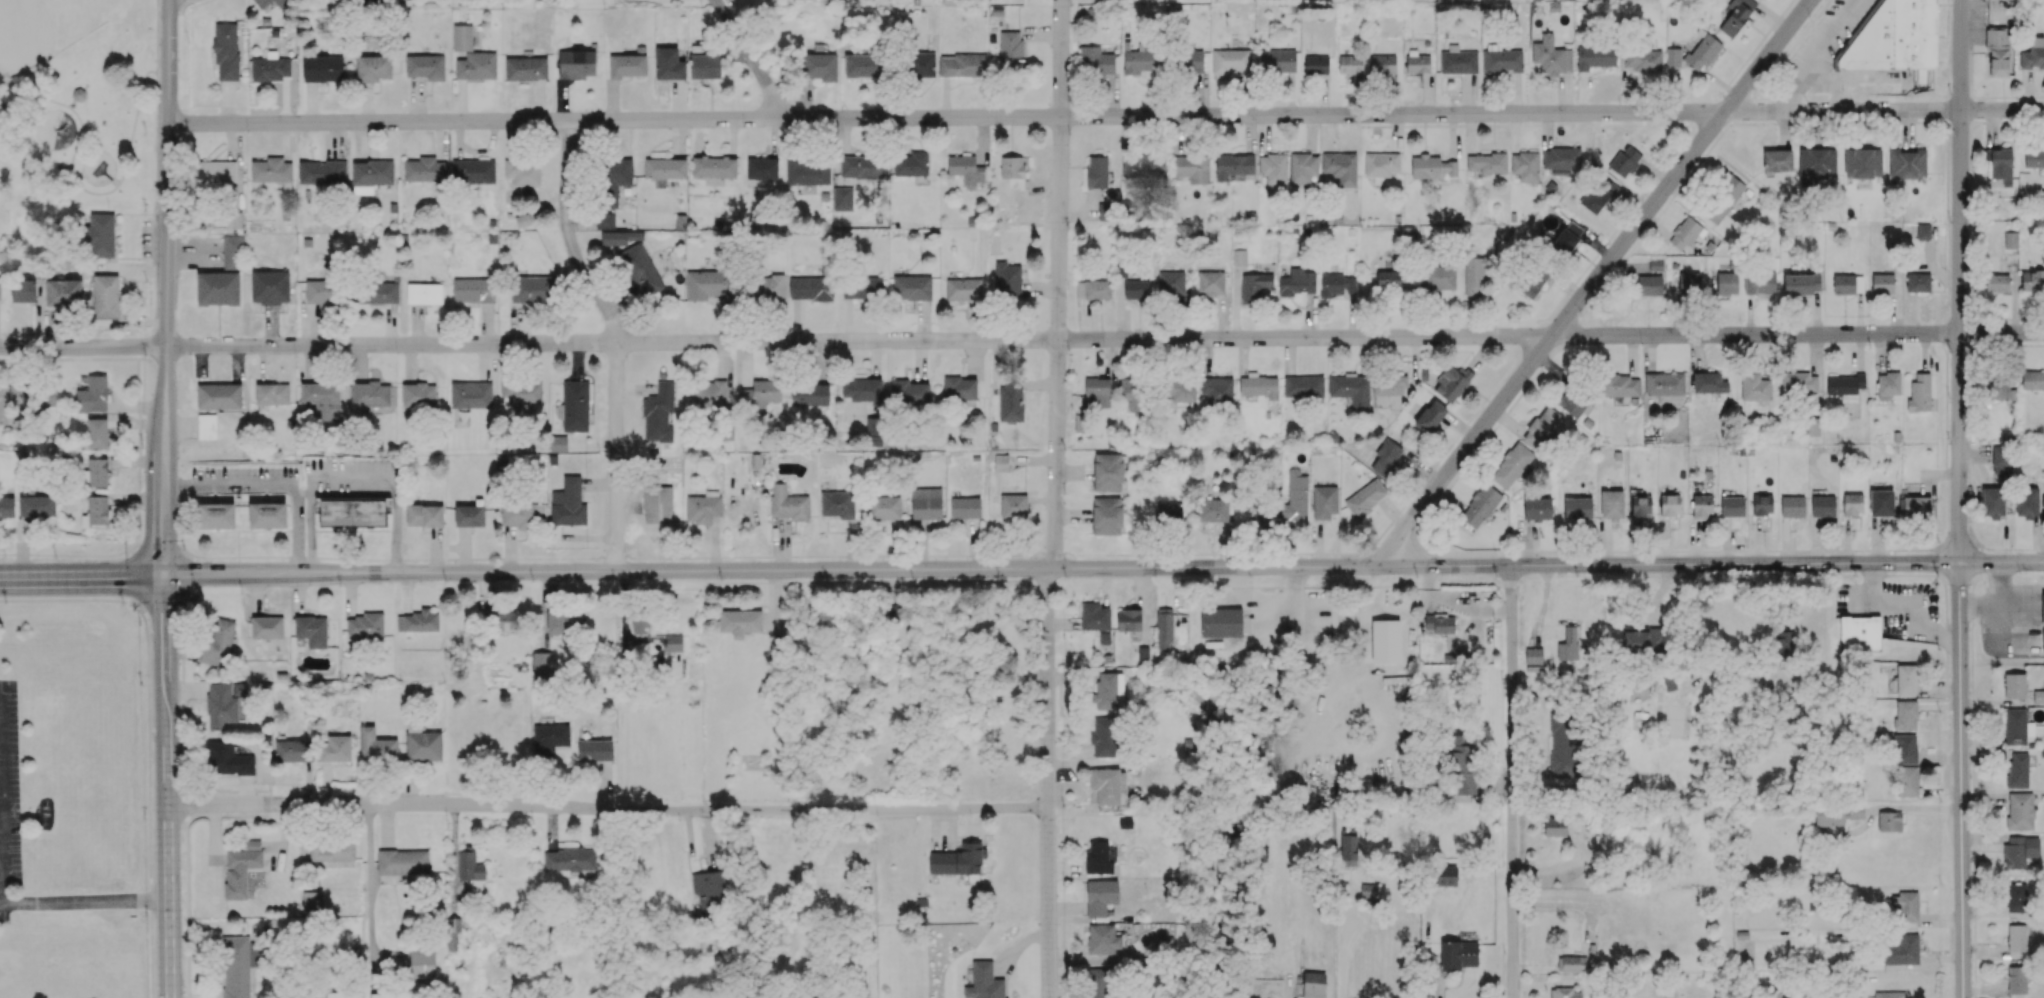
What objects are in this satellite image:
building: (370, 1)
parking lot: (167, 2)
building: (262, 4)
building: (1737, 16)
park: (46, 29)
road: (157, 35)
building: (1896, 37)
road: (1826, 40)
road: (1971, 47)
building: (1011, 48)
building: (226, 49)
building: (1702, 52)
building: (1998, 52)
building: (2033, 54)
building: (1551, 56)
building: (1595, 56)
building: (1673, 57)
road: (752, 59)
building: (1141, 59)
building: (1096, 60)
building: (1190, 60)
building: (1278, 60)
building: (1458, 60)
building: (1502, 60)
building: (1643, 60)
building: (670, 61)
building: (1230, 61)
building: (577, 63)
building: (629, 63)
building: (1384, 63)
building: (1418, 63)
building: (922, 64)
building: (1316, 64)
building: (477, 65)
building: (862, 65)
building: (963, 65)
building: (1350, 65)
building: (425, 66)
building: (820, 66)
building: (373, 67)
building: (270, 68)
building: (323, 68)
building: (526, 68)
road: (1834, 91)
road: (1795, 94)
road: (2008, 96)
park: (78, 106)
road: (2002, 108)
road: (1065, 115)
road: (1990, 121)
road: (2025, 121)
road: (157, 141)
building: (2034, 157)
building: (1562, 159)
building: (1777, 159)
road: (1970, 159)
building: (1625, 161)
building: (1487, 162)
building: (1907, 162)
building: (1863, 163)
building: (2001, 163)
building: (912, 164)
building: (1816, 164)
building: (1143, 165)
building: (1234, 165)
building: (1381, 165)
building: (714, 166)
building: (1431, 166)
building: (1526, 166)
building: (666, 167)
building: (863, 167)
building: (1273, 167)
building: (1303, 167)
building: (1341, 167)
building: (424, 168)
building: (1192, 168)
building: (271, 169)
building: (217, 170)
building: (760, 170)
building: (966, 170)
building: (1013, 170)
building: (473, 171)
building: (523, 171)
building: (1097, 171)
building: (322, 172)
building: (807, 172)
building: (371, 175)
building: (613, 179)
road: (89, 192)
building: (1598, 194)
building: (843, 198)
building: (1724, 200)
road: (1969, 208)
building: (1106, 211)
building: (605, 220)
building: (681, 221)
road: (1969, 230)
building: (1923, 231)
building: (1684, 233)
building: (100, 236)
building: (620, 237)
building: (1568, 239)
building: (2010, 246)
building: (232, 251)
building: (1239, 257)
building: (640, 268)
building: (1474, 276)
building: (1389, 278)
building: (1438, 278)
building: (1531, 279)
road: (1968, 279)
building: (1007, 280)
building: (2032, 280)
road: (1593, 281)
road: (1960, 281)
building: (1298, 282)
building: (1685, 282)
building: (1727, 282)
building: (1760, 282)
building: (1882, 282)
building: (1918, 282)
building: (2001, 282)
building: (1171, 283)
building: (1210, 283)
building: (1802, 283)
building: (1844, 283)
building: (709, 284)
road: (1058, 285)
building: (1255, 285)
building: (1338, 285)
building: (1650, 285)
building: (270, 286)
building: (963, 286)
building: (767, 287)
building: (912, 287)
road: (167, 288)
building: (218, 288)
building: (811, 288)
building: (862, 288)
building: (0, 289)
building: (474, 289)
building: (533, 289)
building: (1093, 289)
building: (1136, 289)
building: (23, 290)
building: (320, 291)
building: (63, 292)
building: (374, 292)
building: (424, 293)
building: (105, 296)
road: (2009, 318)
road: (1974, 331)
road: (2002, 331)
road: (1063, 338)
road: (618, 340)
road: (1995, 344)
road: (2031, 344)
road: (83, 346)
building: (2033, 379)
building: (1452, 382)
building: (1665, 383)
building: (1709, 383)
building: (1800, 383)
building: (1845, 384)
building: (1259, 385)
building: (1888, 385)
building: (1303, 386)
building: (1620, 387)
building: (1755, 387)
building: (1999, 387)
building: (861, 388)
building: (1387, 388)
building: (1217, 389)
building: (1351, 389)
building: (522, 390)
building: (960, 390)
building: (1183, 390)
building: (1098, 391)
building: (909, 392)
building: (1920, 392)
building: (272, 393)
building: (1133, 393)
building: (93, 394)
building: (471, 394)
building: (711, 394)
building: (760, 394)
building: (810, 394)
building: (369, 395)
building: (219, 396)
building: (45, 399)
building: (9, 400)
building: (323, 400)
building: (1011, 401)
building: (1574, 404)
building: (574, 406)
building: (659, 412)
building: (1430, 417)
building: (207, 426)
building: (1543, 427)
building: (1811, 427)
building: (97, 432)
building: (875, 432)
building: (2002, 455)
building: (1386, 458)
building: (1001, 462)
building: (1512, 465)
building: (1108, 471)
building: (98, 472)
road: (353, 477)
road: (273, 483)
building: (1296, 498)
building: (1366, 498)
building: (788, 502)
building: (1325, 502)
building: (1881, 502)
building: (1993, 502)
building: (2027, 502)
building: (568, 503)
building: (838, 503)
building: (926, 503)
building: (1852, 503)
building: (658, 504)
building: (1612, 504)
building: (1670, 504)
building: (1762, 504)
building: (1013, 505)
building: (1480, 505)
building: (1641, 505)
building: (1731, 505)
building: (1822, 505)
building: (37, 506)
building: (1701, 506)
building: (1792, 506)
building: (1917, 506)
building: (7, 507)
building: (883, 507)
building: (965, 507)
building: (1578, 507)
building: (701, 508)
building: (1538, 508)
building: (1213, 509)
building: (98, 510)
building: (353, 512)
building: (1169, 512)
building: (521, 514)
building: (216, 515)
building: (267, 515)
building: (425, 515)
building: (469, 515)
building: (1107, 515)
road: (2016, 549)
road: (2003, 563)
traffic signals: (1962, 564)
road: (1137, 569)
road: (230, 575)
road: (305, 575)
road: (82, 576)
traffic signals: (164, 576)
road: (2011, 588)
road: (1988, 597)
building: (2043, 608)
building: (1095, 616)
road: (1292, 617)
building: (502, 618)
building: (563, 620)
building: (418, 621)
building: (1129, 621)
road: (2001, 621)
building: (740, 622)
building: (1221, 622)
building: (639, 623)
building: (1439, 623)
building: (365, 626)
building: (267, 627)
building: (1164, 628)
building: (312, 630)
building: (1860, 633)
building: (1104, 637)
building: (1642, 639)
building: (673, 642)
building: (1569, 642)
building: (219, 643)
building: (1783, 650)
road: (1699, 653)
building: (542, 664)
building: (1906, 678)
building: (1669, 681)
building: (2015, 685)
building: (1108, 690)
building: (2038, 696)
building: (221, 705)
building: (1905, 714)
building: (2017, 726)
road: (1378, 730)
building: (1103, 735)
building: (549, 740)
building: (423, 744)
building: (1562, 744)
building: (376, 745)
building: (335, 748)
building: (1905, 748)
building: (595, 749)
building: (290, 750)
building: (228, 759)
building: (2018, 769)
building: (1463, 770)
building: (1907, 781)
road: (1963, 781)
road: (1514, 782)
road: (1050, 784)
building: (1106, 785)
road: (167, 786)
road: (608, 808)
building: (1856, 810)
building: (2020, 810)
building: (1829, 817)
building: (1889, 820)
building: (1559, 826)
building: (1351, 847)
building: (332, 850)
building: (2020, 851)
building: (1098, 857)
building: (571, 860)
building: (958, 860)
building: (403, 861)
building: (241, 868)
building: (471, 869)
building: (1445, 875)
road: (0, 884)
building: (709, 889)
road: (369, 893)
building: (1367, 893)
building: (1101, 896)
building: (2017, 897)
building: (312, 902)
road: (84, 904)
building: (1906, 905)
building: (2017, 937)
building: (1103, 939)
road: (1346, 941)
building: (1902, 950)
building: (1458, 954)
building: (1573, 962)
building: (422, 963)
building: (238, 966)
building: (2017, 979)
building: (984, 982)
building: (1098, 982)
building: (1314, 984)
building: (1565, 992)
building: (1889, 994)
building: (340, 995)
building: (383, 995)

